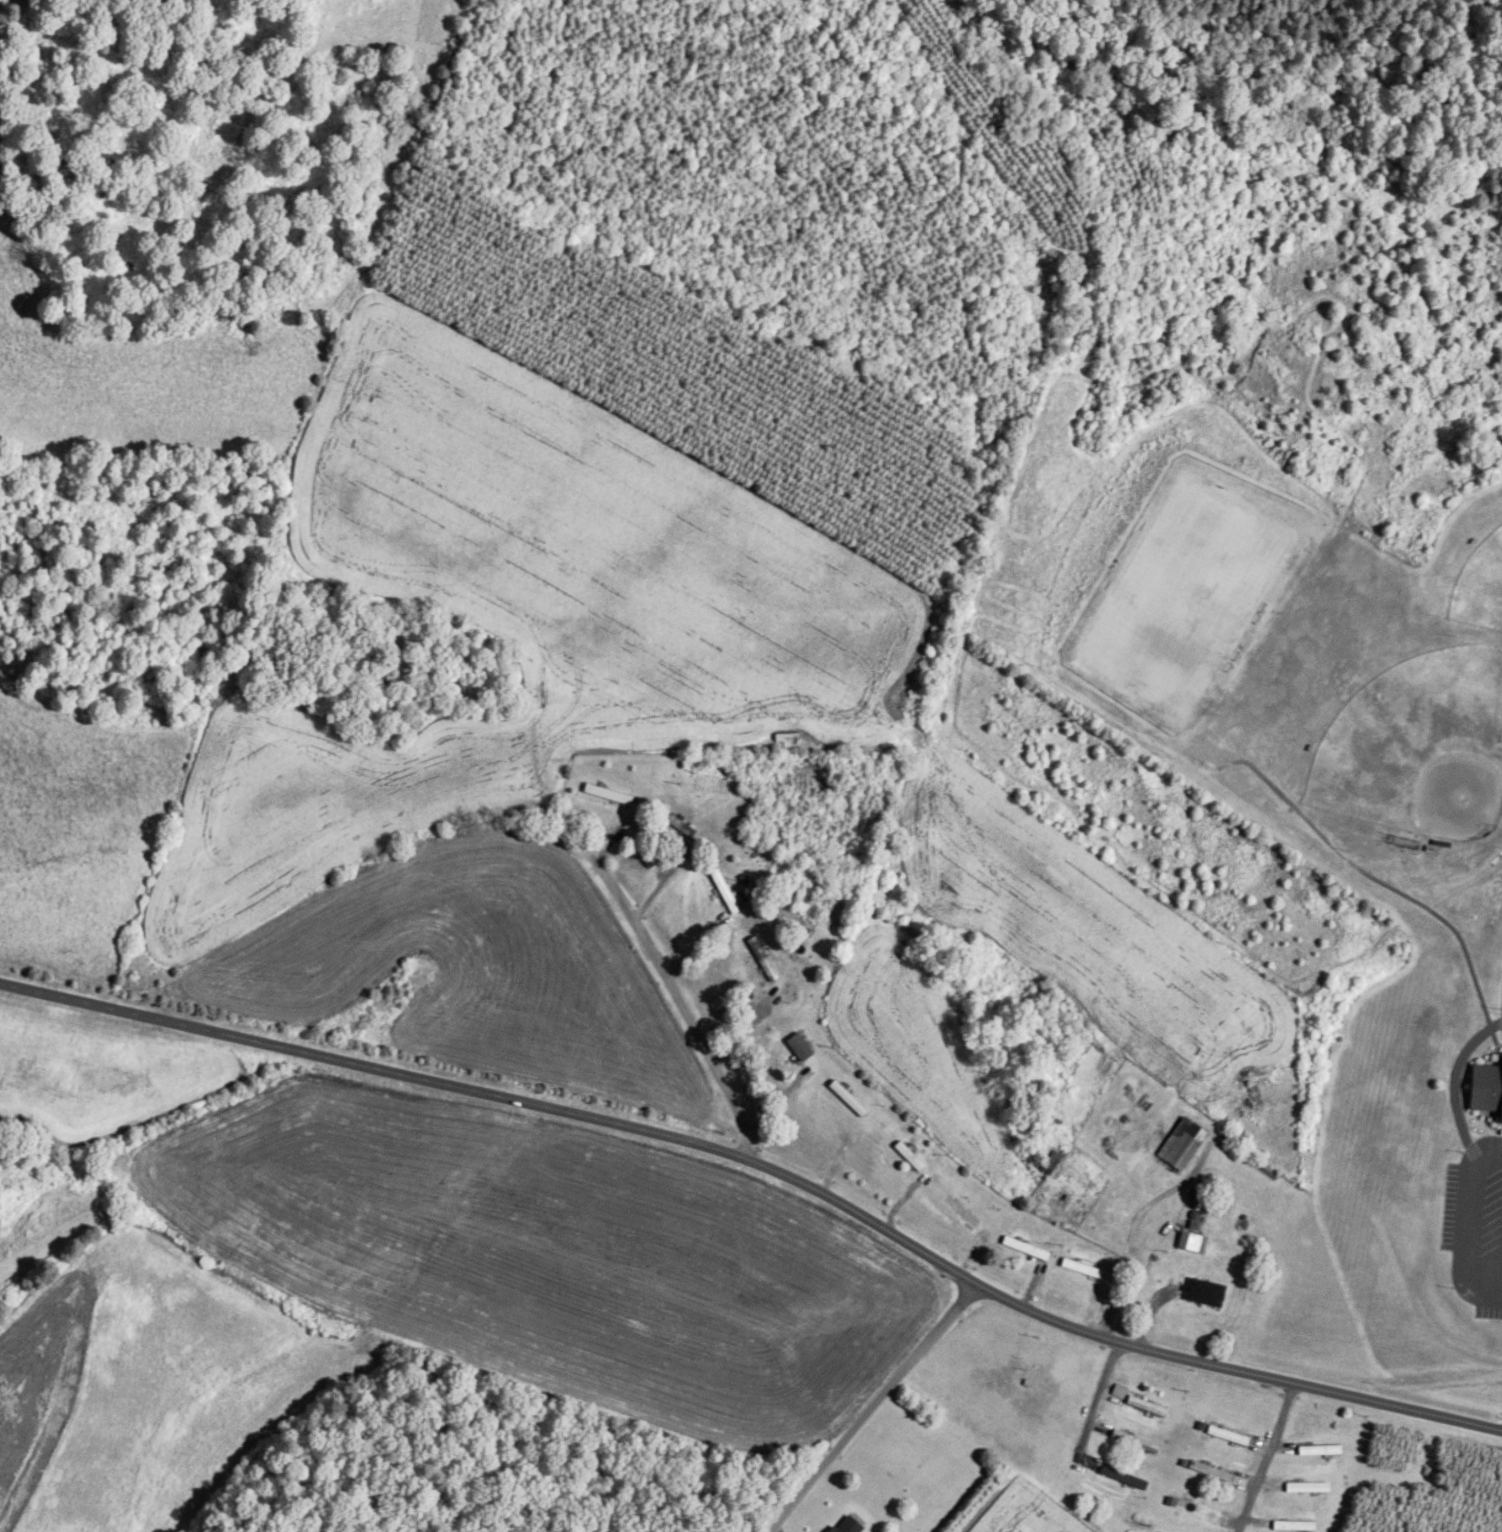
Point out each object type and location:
building: (607, 794)
building: (725, 893)
road: (620, 902)
building: (762, 959)
building: (799, 1047)
road: (709, 1060)
building: (1486, 1083)
road: (1454, 1086)
building: (847, 1099)
building: (1181, 1144)
road: (770, 1145)
building: (908, 1157)
building: (1050, 1163)
building: (961, 1212)
road: (1467, 1220)
road: (1124, 1231)
building: (1191, 1243)
building: (1025, 1248)
building: (1081, 1269)
building: (1204, 1293)
road: (1090, 1401)
building: (1136, 1402)
road: (860, 1403)
building: (1227, 1435)
building: (1134, 1441)
building: (1318, 1450)
road: (1262, 1458)
building: (1123, 1477)
building: (1196, 1509)
building: (849, 1525)
building: (1292, 1525)

